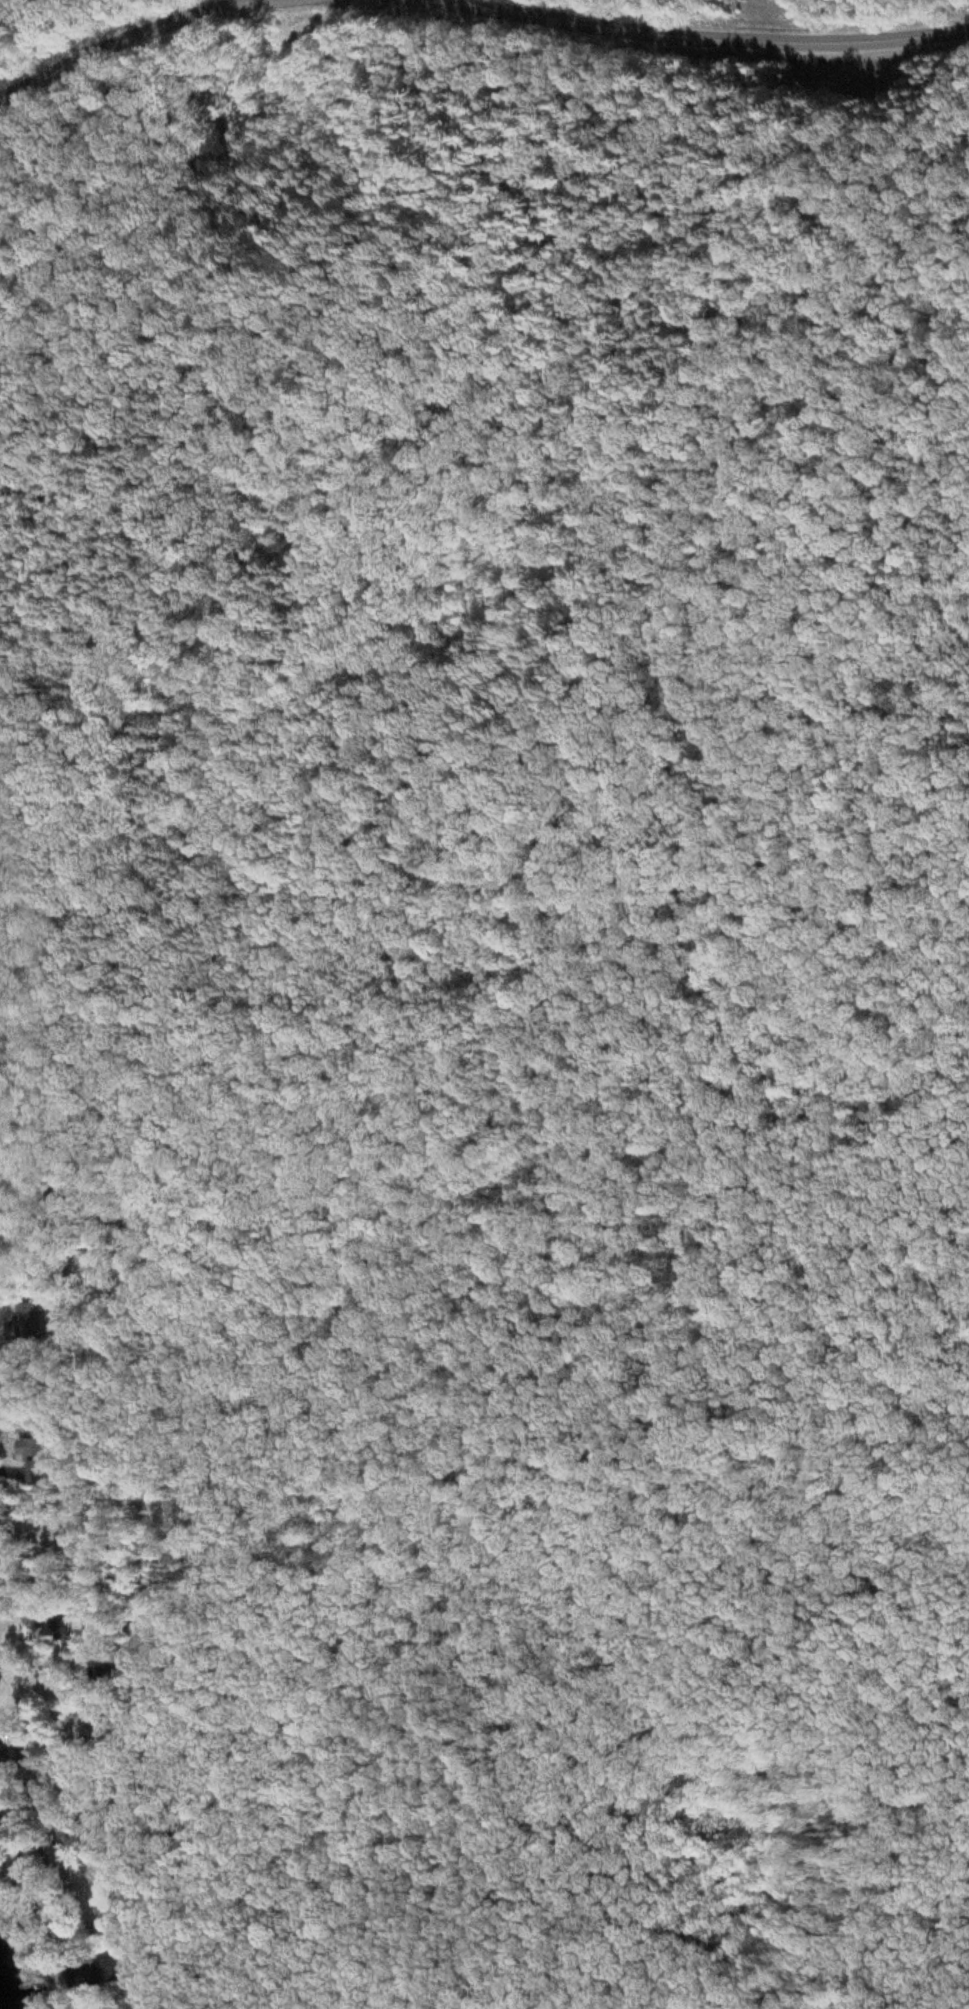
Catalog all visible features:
road: (704, 36)
road: (129, 43)
road: (127, 1276)
building: (28, 1324)
building: (62, 1630)
building: (14, 1758)
road: (93, 1807)
building: (96, 1973)

